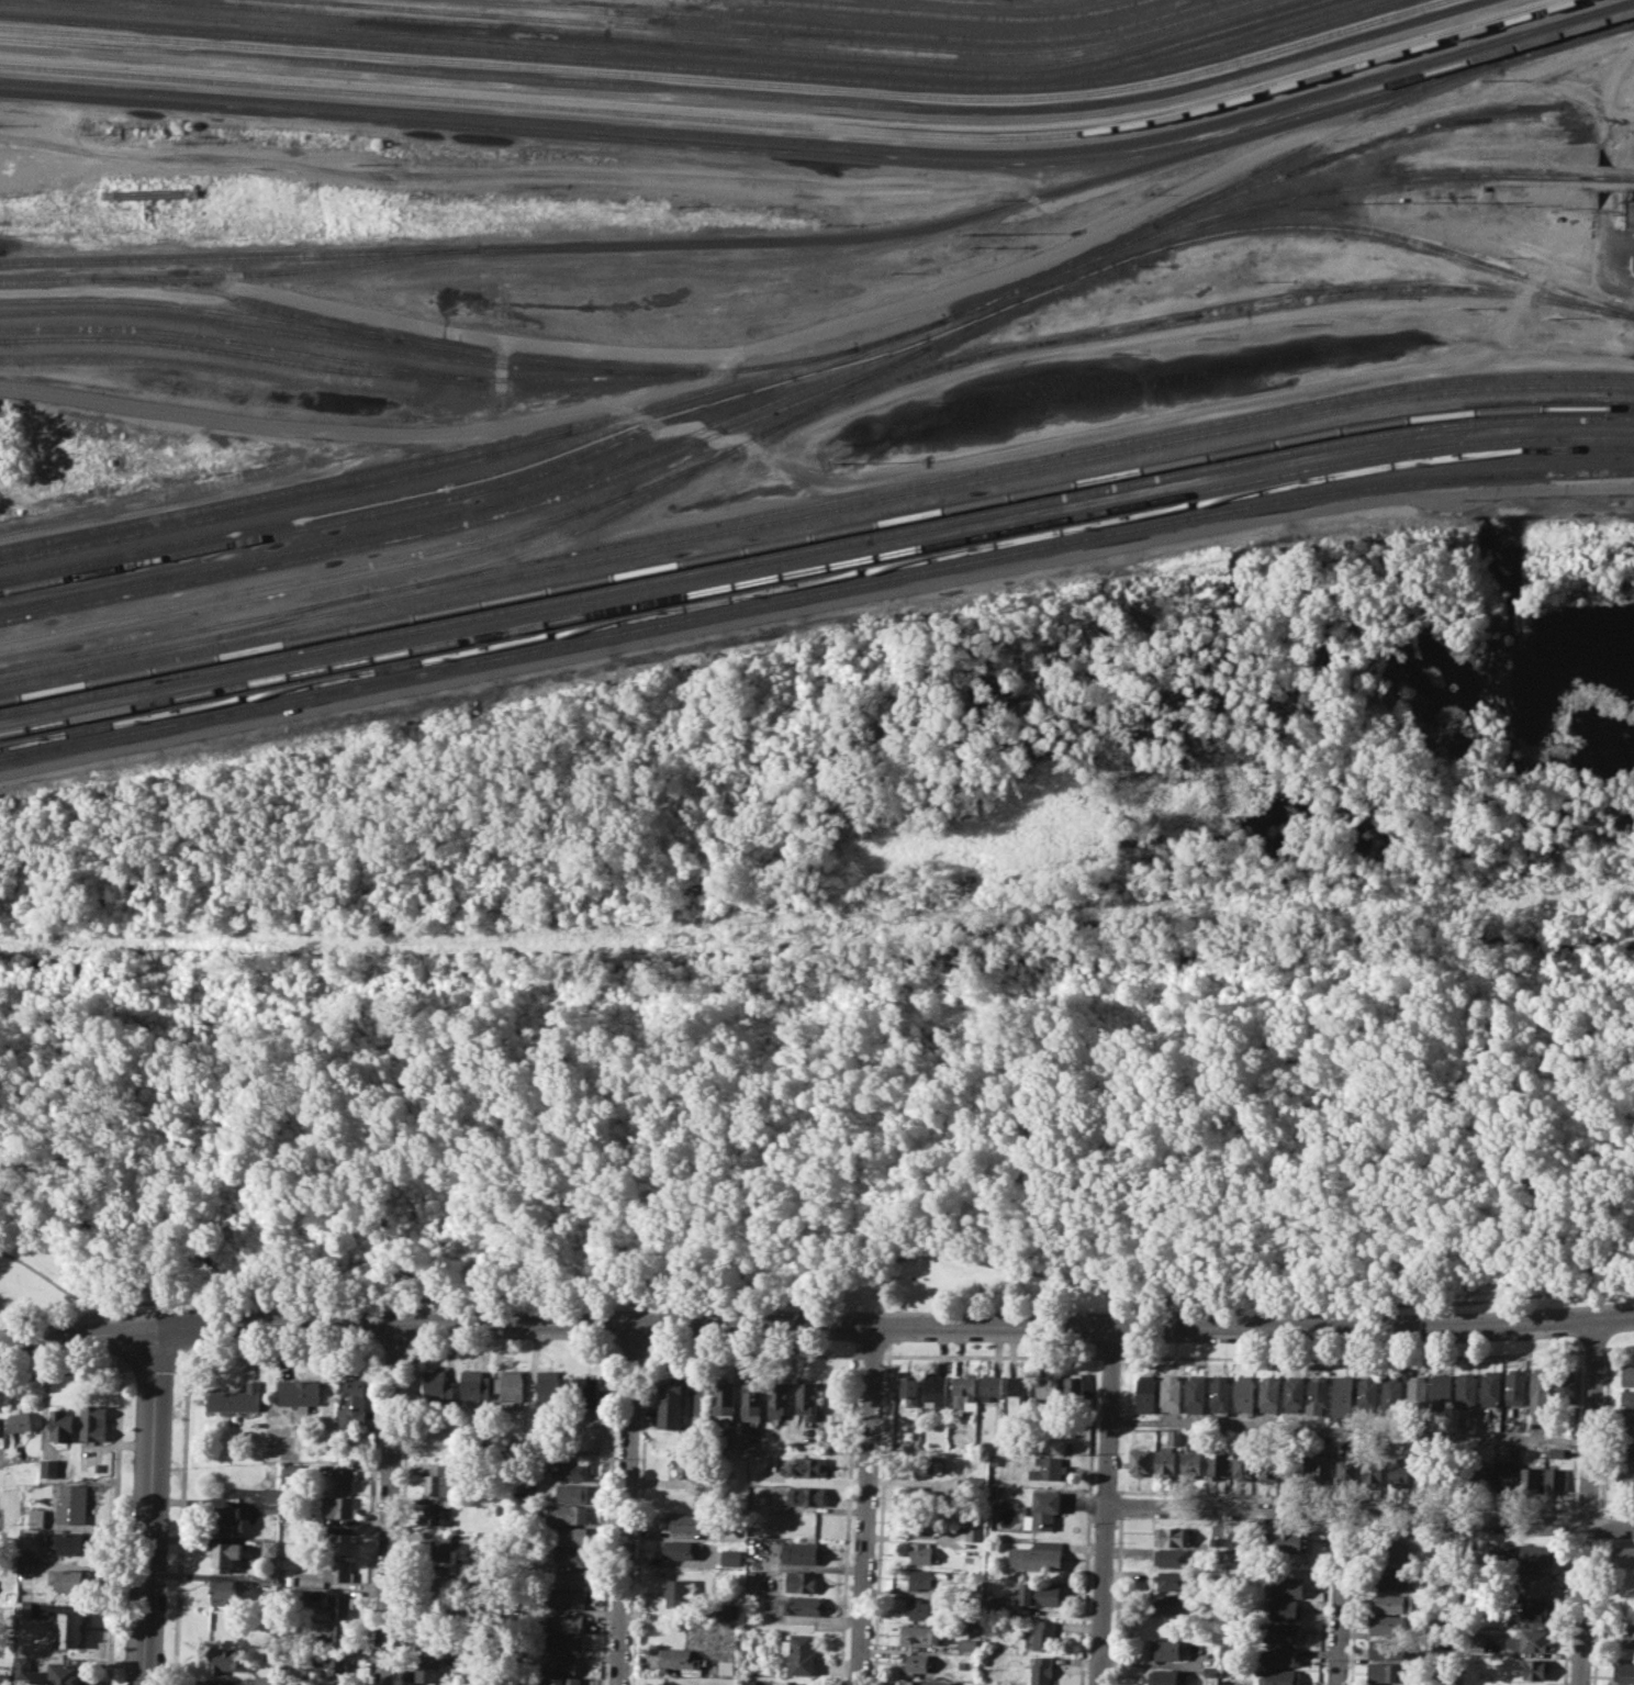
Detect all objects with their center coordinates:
railway: (956, 13)
railway: (918, 21)
railway: (846, 26)
railway: (784, 35)
railway: (731, 43)
railway: (663, 51)
railway: (703, 69)
railway: (729, 81)
road: (1549, 89)
railway: (749, 92)
road: (1608, 101)
railway: (781, 112)
road: (1620, 116)
railway: (797, 123)
railway: (824, 142)
railway: (826, 153)
railway: (1338, 153)
railway: (1282, 158)
railway: (1567, 175)
road: (1604, 215)
building: (1632, 215)
railway: (1380, 234)
railway: (831, 238)
road: (1615, 268)
railway: (236, 272)
railway: (1025, 286)
railway: (1029, 290)
railway: (1041, 290)
railway: (243, 298)
railway: (1196, 314)
road: (838, 325)
railway: (288, 333)
railway: (426, 343)
railway: (869, 347)
railway: (234, 353)
railway: (345, 360)
road: (314, 429)
road: (1086, 434)
railway: (629, 436)
railway: (1487, 440)
railway: (723, 455)
railway: (278, 493)
railway: (379, 502)
railway: (279, 503)
railway: (815, 504)
railway: (477, 511)
railway: (814, 513)
railway: (472, 522)
railway: (815, 536)
railway: (255, 537)
railway: (815, 547)
railway: (371, 572)
railway: (317, 576)
railway: (815, 582)
railway: (814, 593)
railway: (670, 599)
railway: (294, 615)
park: (830, 1117)
road: (816, 1291)
road: (816, 1324)
road: (156, 1353)
road: (1592, 1353)
road: (872, 1354)
road: (885, 1354)
road: (1109, 1355)
road: (1351, 1357)
road: (1607, 1359)
road: (63, 1371)
building: (1627, 1373)
building: (1565, 1383)
building: (438, 1385)
building: (548, 1385)
building: (1515, 1385)
building: (510, 1386)
building: (989, 1386)
building: (1072, 1386)
building: (475, 1387)
building: (1019, 1387)
building: (1047, 1387)
building: (1490, 1387)
building: (587, 1388)
building: (910, 1388)
building: (934, 1388)
building: (1465, 1388)
building: (1540, 1388)
building: (962, 1391)
building: (1441, 1391)
building: (300, 1392)
building: (1294, 1392)
building: (1146, 1393)
building: (1171, 1393)
building: (1196, 1393)
building: (1219, 1393)
building: (1245, 1393)
building: (1368, 1393)
building: (1392, 1393)
building: (1417, 1393)
building: (1269, 1394)
building: (1318, 1394)
building: (1343, 1395)
building: (237, 1398)
building: (724, 1399)
building: (751, 1399)
building: (779, 1399)
building: (1627, 1399)
building: (807, 1401)
building: (354, 1403)
building: (670, 1403)
road: (645, 1411)
road: (885, 1414)
building: (19, 1419)
building: (91, 1425)
building: (61, 1426)
building: (1626, 1426)
road: (1350, 1428)
building: (1174, 1436)
road: (1603, 1437)
building: (1330, 1442)
building: (1070, 1444)
building: (1410, 1446)
building: (1513, 1449)
building: (1555, 1452)
building: (1627, 1452)
building: (1165, 1458)
building: (1190, 1461)
building: (1347, 1461)
building: (1139, 1462)
building: (1217, 1462)
building: (1295, 1462)
building: (1373, 1464)
building: (692, 1465)
building: (809, 1465)
building: (924, 1465)
building: (1243, 1465)
building: (99, 1466)
building: (1048, 1466)
building: (1269, 1466)
building: (48, 1468)
building: (293, 1468)
building: (1320, 1469)
building: (1435, 1469)
building: (572, 1470)
building: (1404, 1470)
building: (1456, 1470)
building: (1477, 1475)
building: (1502, 1475)
building: (1626, 1476)
building: (344, 1477)
building: (1529, 1478)
building: (1554, 1478)
building: (439, 1480)
building: (974, 1483)
building: (993, 1488)
building: (572, 1492)
building: (925, 1493)
building: (270, 1494)
building: (808, 1494)
road: (1587, 1500)
building: (70, 1503)
road: (389, 1503)
road: (626, 1504)
road: (866, 1504)
road: (149, 1505)
road: (1105, 1505)
building: (342, 1507)
building: (270, 1508)
building: (523, 1508)
building: (1044, 1509)
building: (567, 1514)
building: (432, 1515)
road: (1369, 1515)
road: (180, 1516)
building: (34, 1517)
building: (228, 1519)
road: (849, 1519)
building: (690, 1520)
building: (924, 1520)
road: (1087, 1520)
road: (371, 1521)
road: (400, 1521)
road: (1600, 1525)
building: (973, 1528)
building: (288, 1529)
building: (569, 1535)
building: (1171, 1535)
building: (1288, 1540)
building: (72, 1542)
building: (339, 1542)
building: (435, 1545)
building: (268, 1547)
building: (678, 1548)
building: (922, 1551)
building: (1394, 1551)
building: (801, 1552)
building: (1536, 1553)
building: (225, 1554)
building: (1624, 1554)
building: (731, 1555)
building: (1036, 1555)
building: (1169, 1555)
building: (570, 1556)
building: (23, 1563)
building: (335, 1569)
building: (287, 1576)
building: (569, 1577)
building: (920, 1577)
building: (69, 1578)
building: (432, 1578)
building: (267, 1580)
building: (1171, 1580)
building: (1389, 1580)
building: (802, 1581)
building: (1531, 1581)
building: (466, 1586)
building: (1284, 1586)
building: (226, 1589)
building: (1037, 1593)
building: (679, 1594)
building: (291, 1595)
building: (566, 1598)
road: (1340, 1599)
road: (1458, 1602)
building: (1171, 1603)
building: (1392, 1603)
building: (991, 1604)
building: (337, 1605)
building: (804, 1605)
building: (919, 1607)
building: (23, 1608)
building: (1283, 1608)
building: (1532, 1609)
road: (1596, 1609)
building: (730, 1610)
building: (429, 1613)
building: (564, 1620)
building: (1387, 1623)
building: (68, 1627)
building: (1282, 1632)
building: (920, 1633)
building: (1043, 1633)
building: (336, 1634)
building: (1629, 1636)
building: (430, 1640)
building: (1474, 1640)
building: (1529, 1640)
building: (562, 1641)
building: (748, 1642)
building: (966, 1643)
building: (1384, 1648)
building: (1167, 1649)
building: (802, 1653)
building: (1280, 1655)
building: (680, 1658)
building: (226, 1660)
building: (747, 1661)
building: (916, 1662)
building: (562, 1664)
building: (332, 1665)
building: (726, 1666)
building: (1535, 1666)
building: (23, 1667)
building: (425, 1670)
building: (1041, 1670)
building: (1211, 1670)
building: (1383, 1672)
building: (67, 1673)
building: (1625, 1673)
building: (1164, 1676)
building: (1280, 1677)
building: (4, 1678)
building: (262, 1680)
building: (564, 1681)
building: (749, 1681)
building: (924, 1682)
building: (1231, 1682)
building: (214, 1684)
building: (336, 1684)
building: (1381, 1684)

